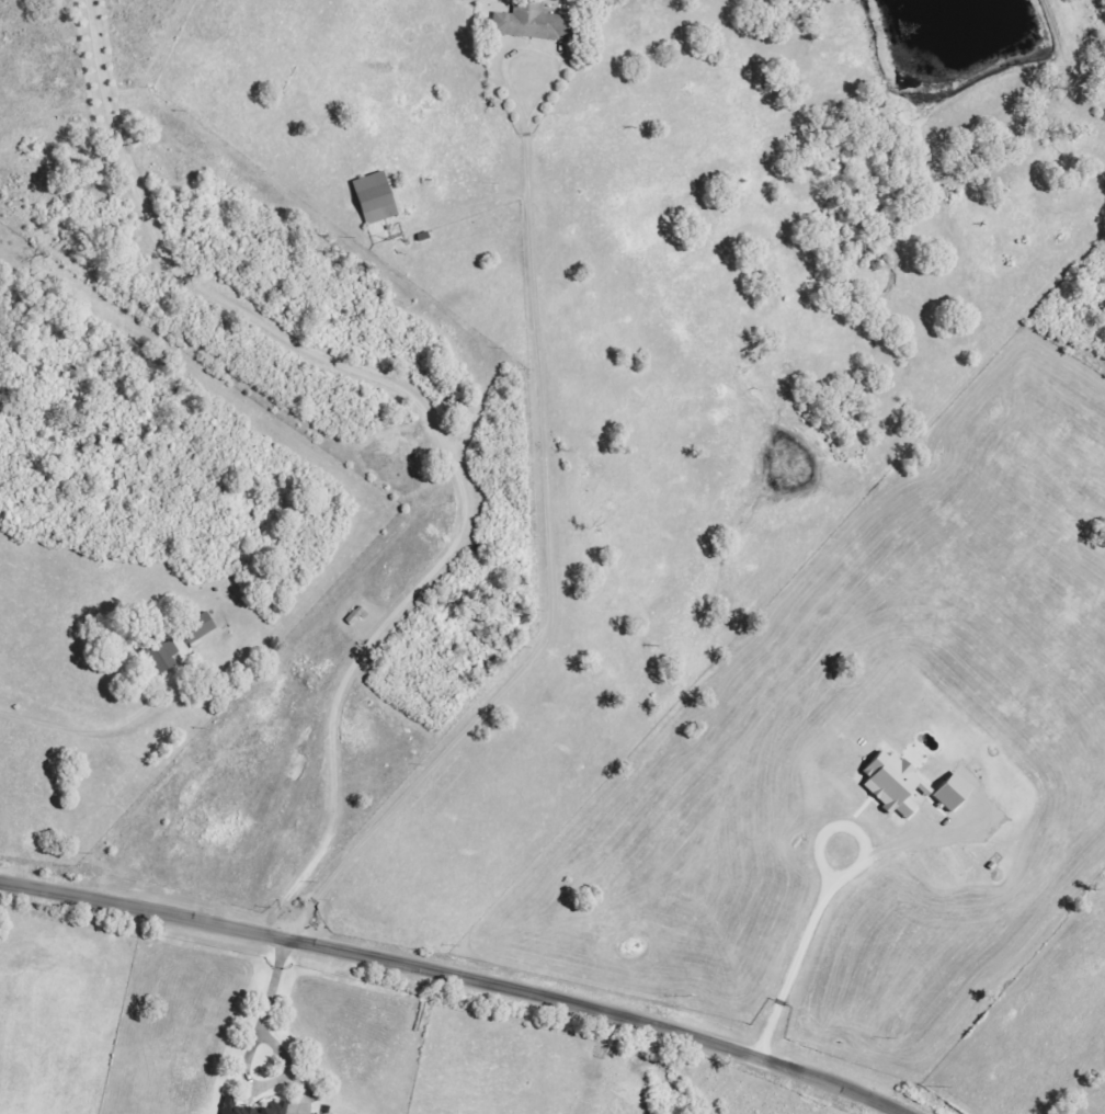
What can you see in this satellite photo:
building: (533, 23)
building: (376, 200)
building: (200, 629)
building: (164, 658)
road: (68, 721)
building: (896, 783)
building: (955, 794)
road: (31, 895)
road: (491, 986)
building: (235, 1107)
building: (277, 1109)

